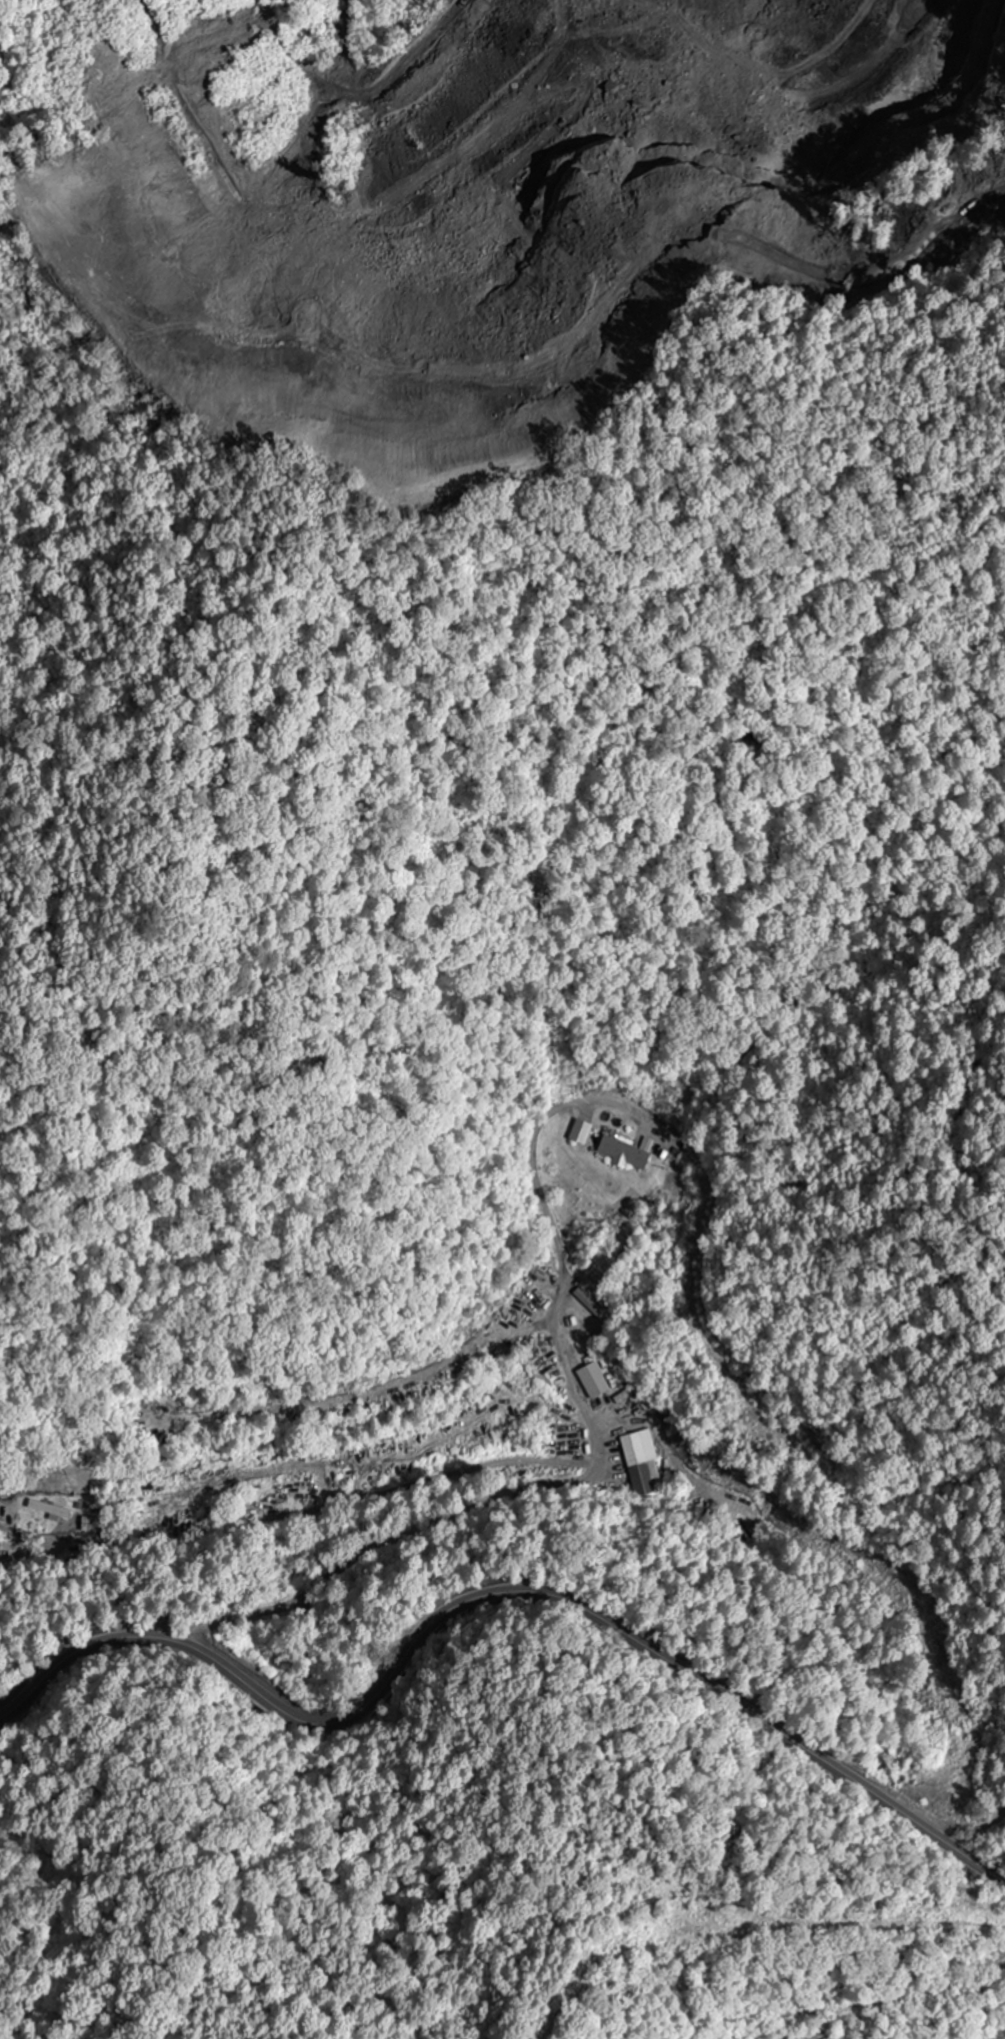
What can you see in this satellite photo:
building: (581, 1132)
building: (624, 1153)
building: (591, 1306)
building: (593, 1380)
building: (642, 1462)
building: (285, 1501)
building: (49, 1509)
building: (91, 1525)
road: (494, 1595)

